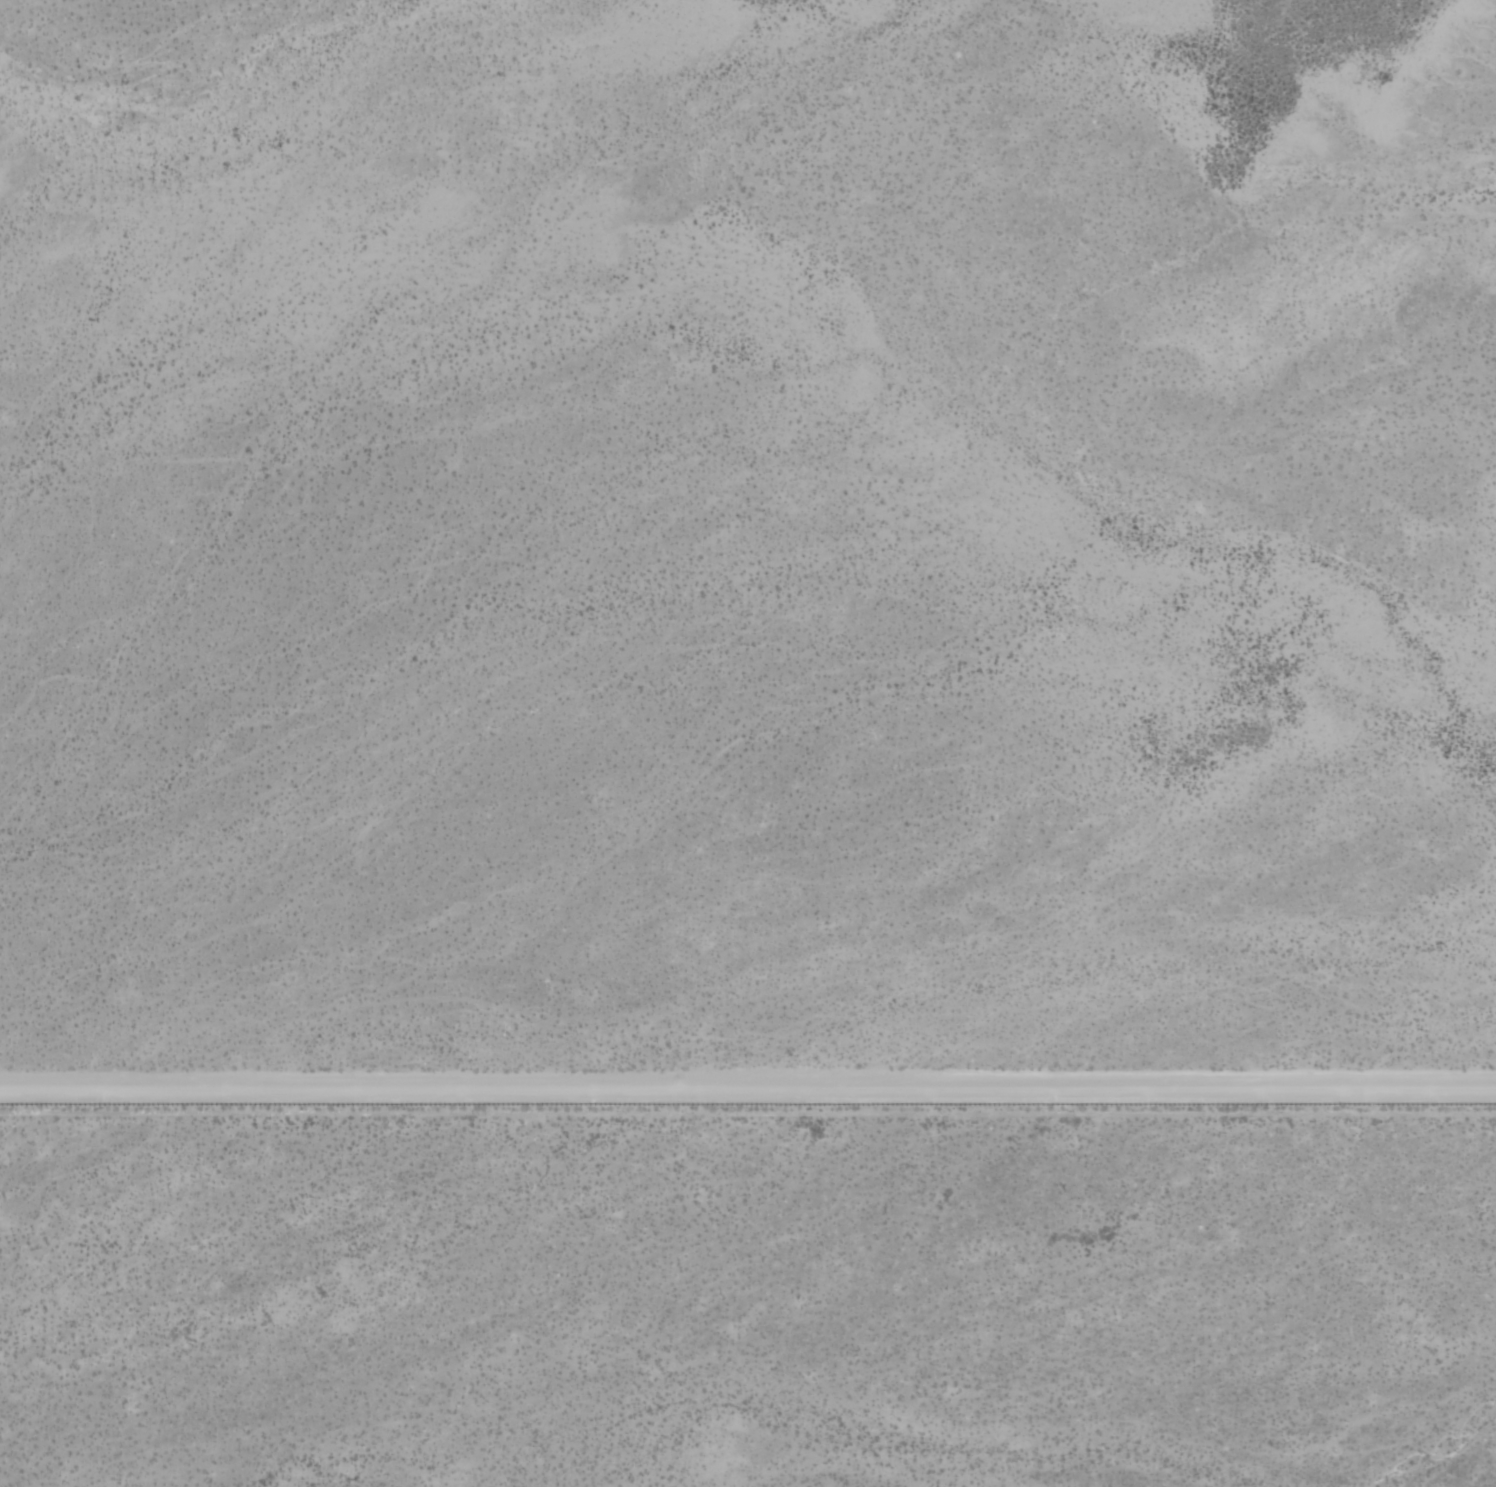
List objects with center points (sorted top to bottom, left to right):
road: (748, 1087)

